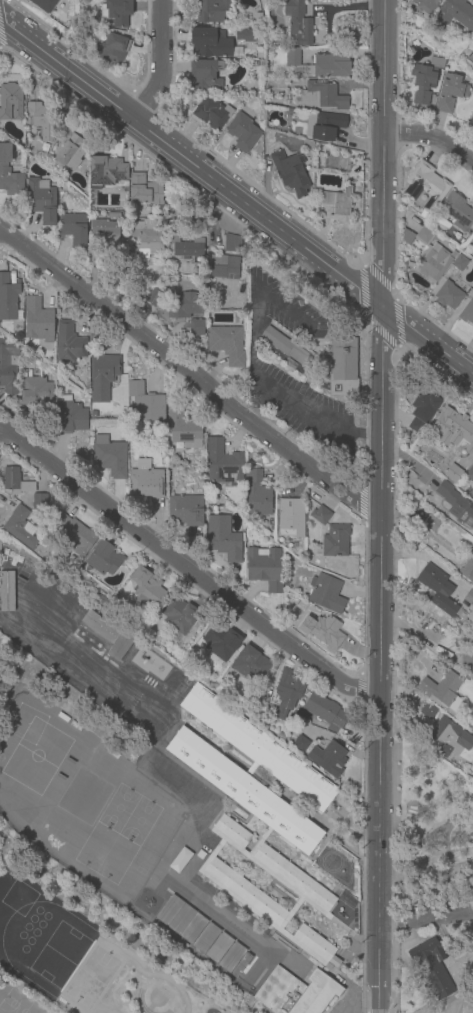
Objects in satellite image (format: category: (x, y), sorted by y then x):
building: (44, 5)
building: (425, 5)
building: (211, 10)
building: (117, 12)
building: (457, 13)
building: (297, 23)
building: (436, 25)
building: (472, 38)
building: (210, 42)
building: (111, 49)
building: (292, 57)
road: (163, 62)
building: (328, 68)
building: (205, 73)
building: (425, 80)
building: (450, 92)
building: (322, 95)
building: (9, 99)
building: (211, 113)
building: (41, 120)
building: (470, 122)
building: (322, 127)
building: (242, 132)
road: (433, 142)
building: (44, 149)
building: (68, 149)
building: (106, 171)
building: (9, 173)
building: (291, 173)
building: (425, 186)
building: (144, 192)
road: (237, 193)
building: (41, 200)
building: (337, 204)
building: (457, 211)
building: (112, 214)
building: (73, 229)
road: (386, 233)
building: (107, 234)
building: (147, 238)
building: (231, 243)
building: (472, 243)
building: (186, 247)
building: (431, 257)
building: (459, 263)
building: (223, 267)
road: (379, 277)
road: (363, 291)
building: (448, 295)
building: (9, 297)
building: (153, 297)
building: (184, 305)
building: (466, 312)
building: (37, 320)
road: (399, 324)
building: (196, 328)
road: (382, 335)
building: (68, 344)
building: (227, 344)
building: (287, 346)
building: (290, 364)
building: (8, 366)
building: (343, 367)
building: (103, 375)
road: (191, 376)
building: (35, 389)
building: (145, 402)
building: (425, 404)
building: (69, 415)
road: (320, 423)
building: (416, 424)
building: (183, 429)
building: (453, 429)
building: (110, 456)
building: (223, 463)
building: (452, 472)
building: (470, 473)
building: (145, 480)
building: (15, 481)
building: (257, 494)
road: (385, 494)
road: (362, 499)
building: (40, 501)
building: (456, 503)
building: (307, 505)
building: (185, 510)
building: (320, 514)
building: (291, 517)
building: (431, 523)
building: (21, 527)
building: (74, 534)
building: (222, 539)
building: (336, 540)
building: (103, 558)
building: (264, 568)
road: (384, 568)
building: (468, 569)
road: (188, 571)
building: (286, 583)
building: (436, 588)
building: (147, 590)
building: (5, 591)
building: (326, 593)
building: (468, 596)
building: (179, 615)
building: (323, 632)
building: (108, 635)
road: (419, 638)
building: (220, 641)
road: (383, 654)
building: (467, 662)
building: (250, 665)
building: (442, 690)
road: (361, 692)
building: (286, 693)
building: (428, 710)
building: (325, 711)
building: (447, 738)
building: (300, 742)
building: (328, 759)
park: (117, 808)
building: (258, 815)
park: (138, 821)
park: (94, 846)
road: (431, 848)
road: (382, 852)
building: (200, 854)
park: (115, 859)
road: (448, 869)
park: (433, 887)
parking lot: (433, 910)
road: (436, 910)
road: (393, 916)
building: (179, 918)
road: (456, 922)
road: (470, 931)
building: (204, 937)
building: (217, 947)
building: (233, 959)
building: (218, 967)
building: (431, 968)
road: (466, 971)
building: (232, 978)
building: (296, 992)
road: (360, 1000)
road: (346, 1006)
parking lot: (341, 1008)
building: (215, 1009)

